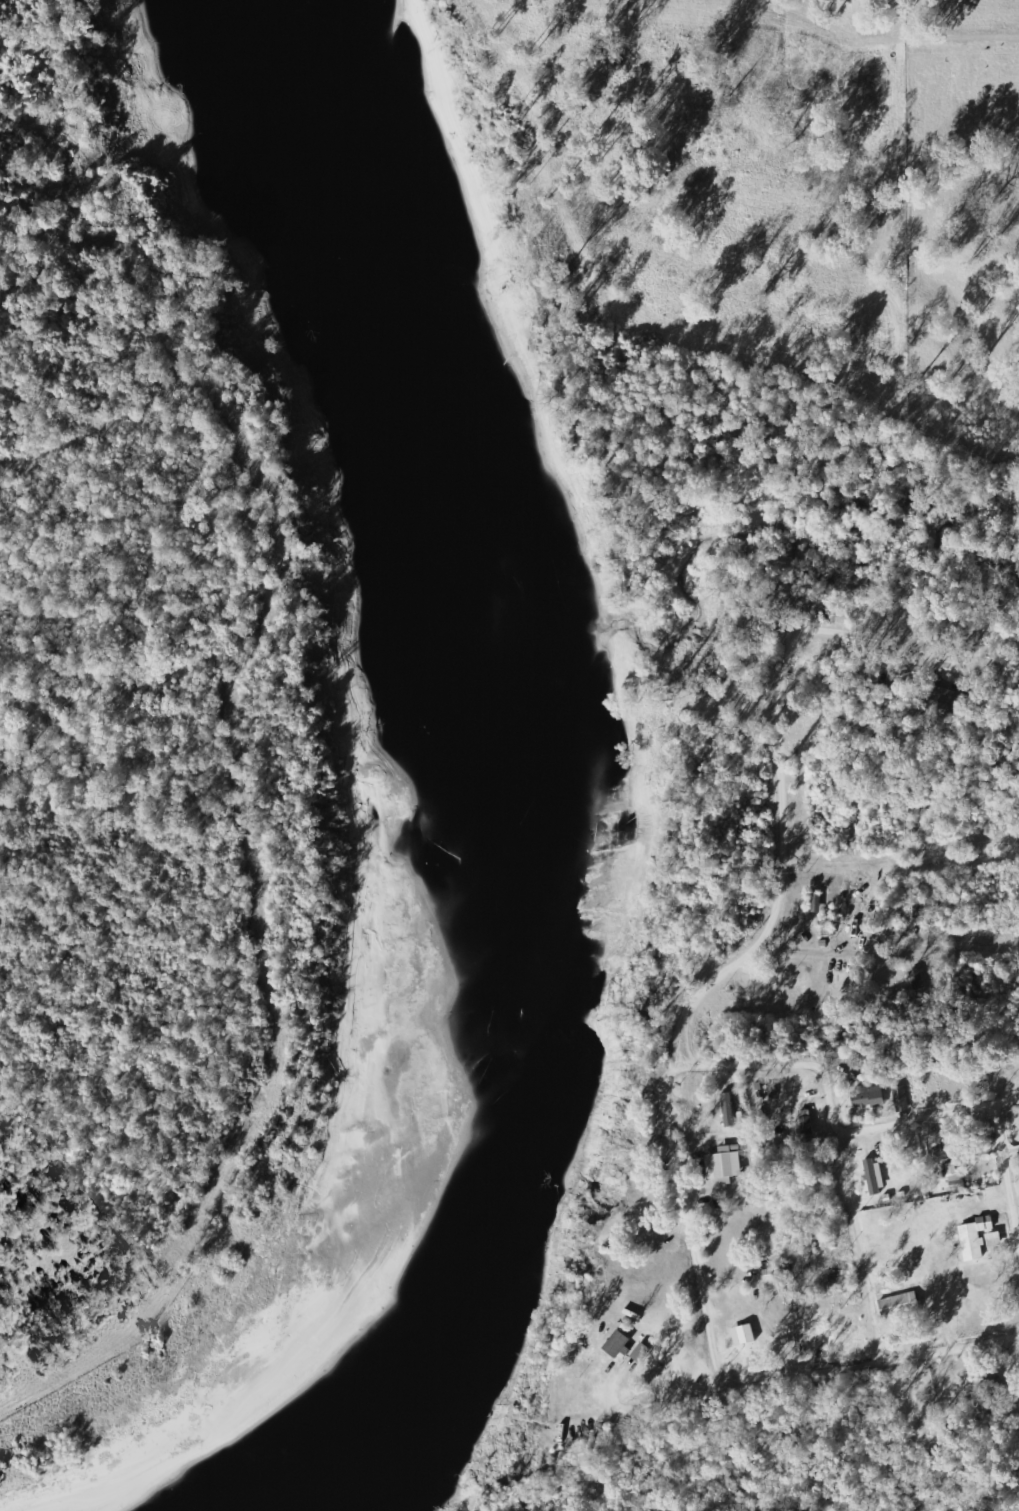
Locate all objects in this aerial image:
river: (508, 783)
road: (904, 795)
road: (766, 886)
road: (871, 906)
building: (916, 980)
road: (860, 1082)
building: (868, 1096)
building: (901, 1098)
road: (1017, 1106)
building: (728, 1108)
building: (807, 1122)
building: (724, 1162)
building: (873, 1176)
road: (889, 1229)
building: (975, 1237)
building: (994, 1239)
building: (900, 1304)
road: (659, 1308)
building: (743, 1334)
building: (617, 1343)
road: (799, 1354)
road: (583, 1357)
road: (586, 1464)

